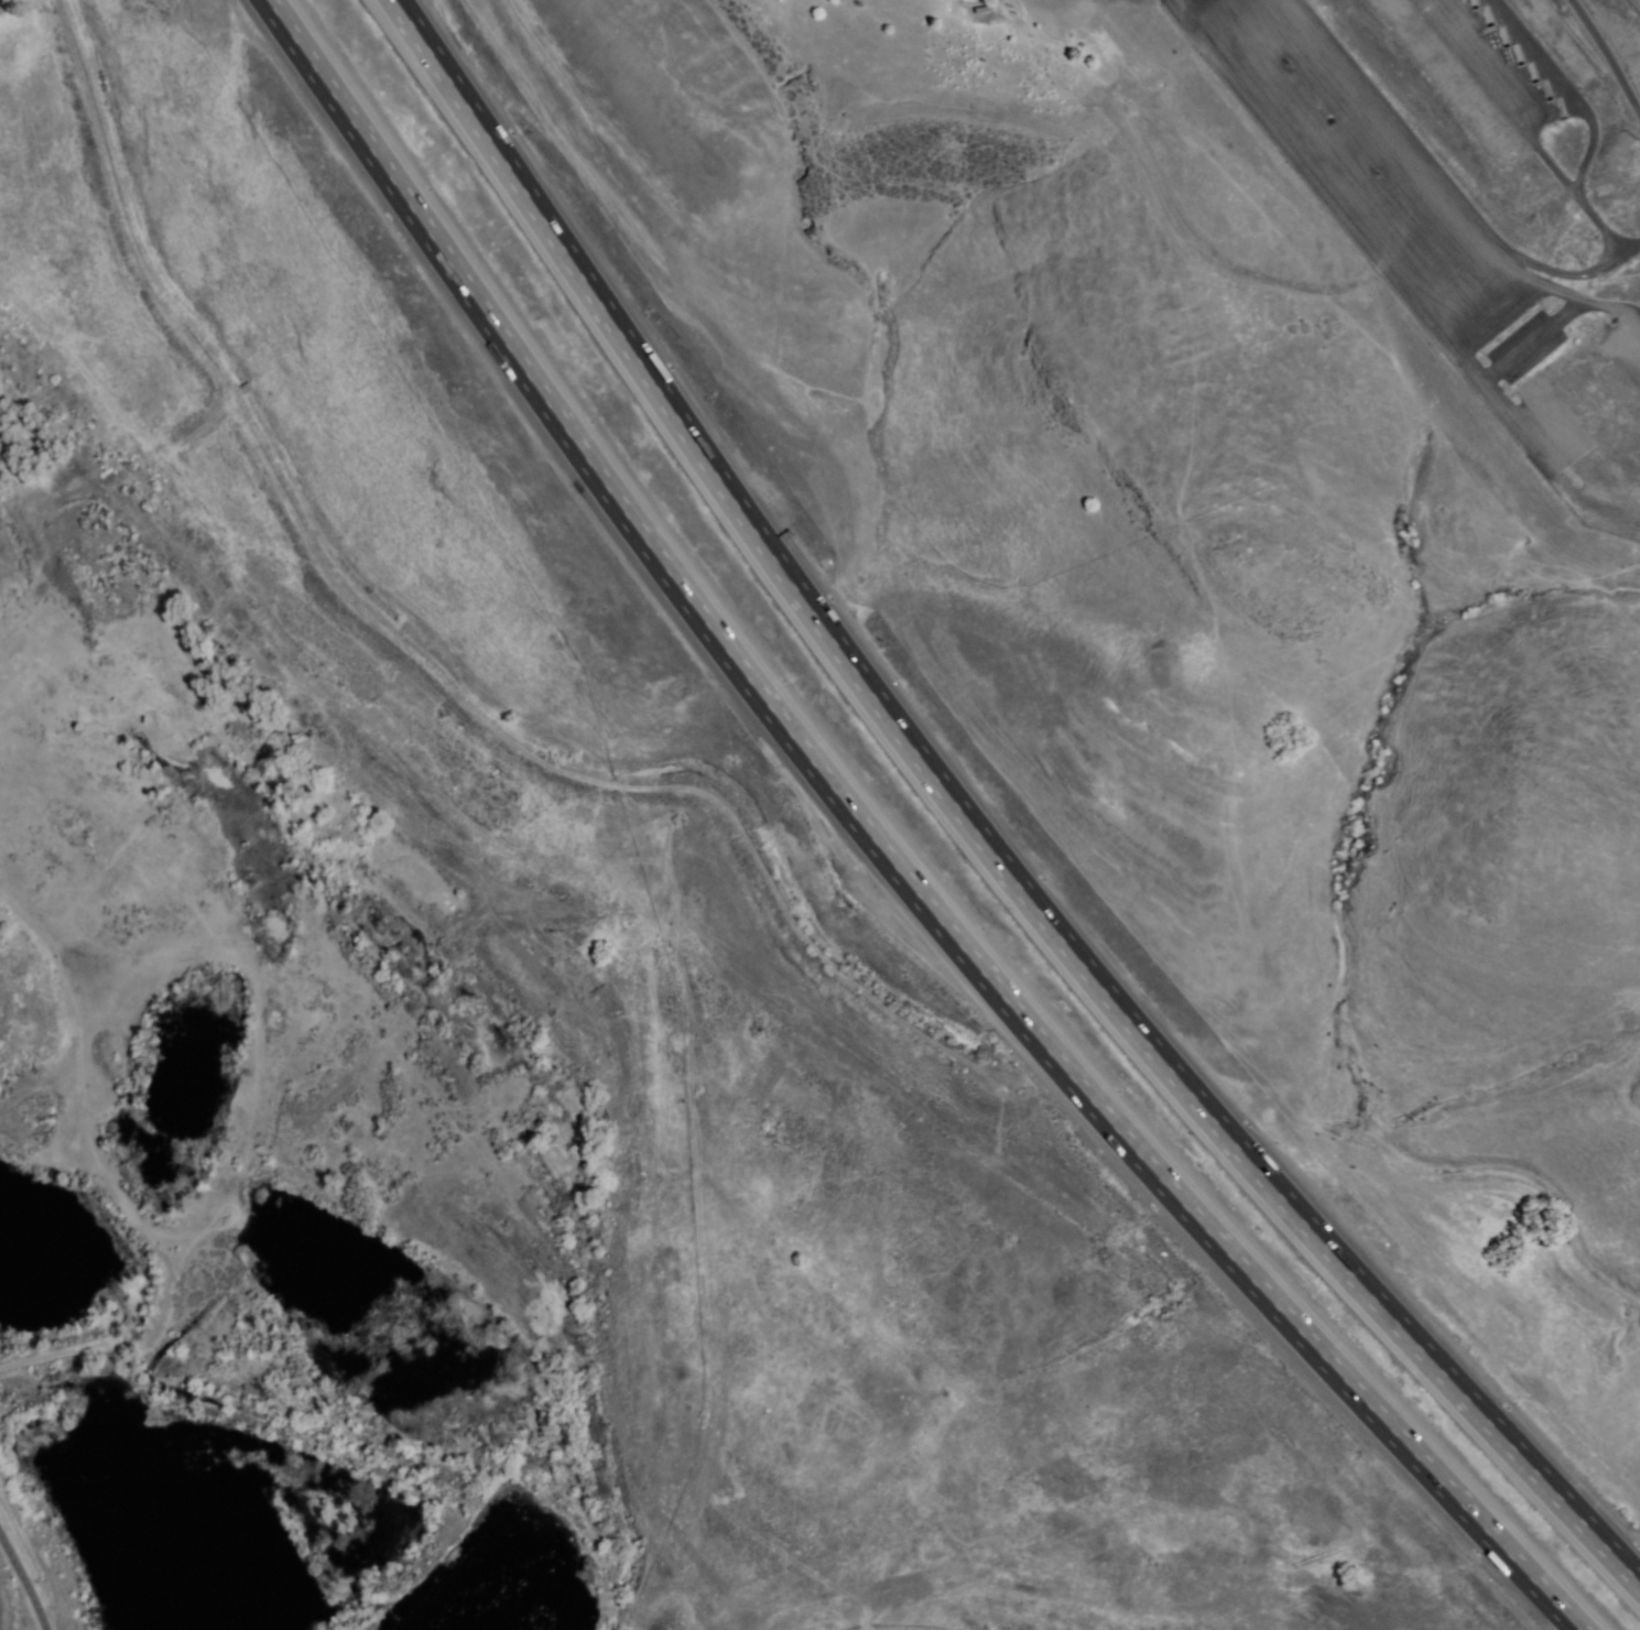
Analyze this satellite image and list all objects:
road: (1606, 54)
road: (1594, 130)
road: (1560, 269)
road: (1460, 343)
road: (401, 645)
road: (970, 828)
road: (878, 849)
road: (53, 1358)
park: (1159, 1497)
road: (25, 1580)

